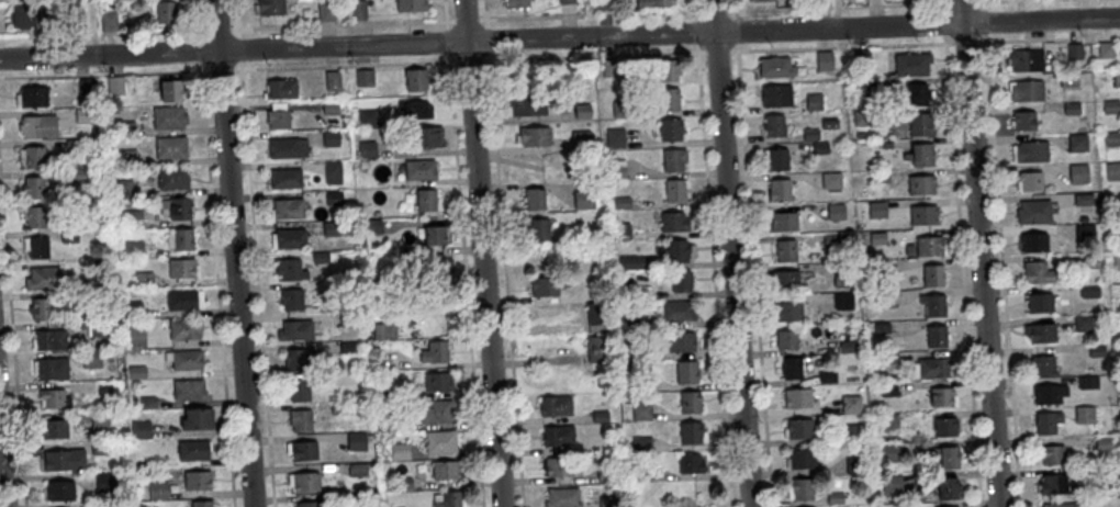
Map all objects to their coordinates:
building: (764, 0)
building: (567, 1)
road: (942, 1)
road: (981, 1)
road: (1005, 1)
building: (517, 2)
road: (962, 2)
building: (412, 3)
building: (604, 3)
building: (653, 3)
road: (733, 4)
road: (693, 5)
building: (269, 7)
road: (839, 7)
building: (358, 8)
building: (326, 9)
road: (445, 10)
road: (485, 10)
road: (714, 10)
building: (29, 11)
building: (166, 11)
road: (194, 14)
road: (236, 14)
road: (590, 15)
road: (466, 20)
road: (983, 21)
building: (110, 22)
building: (77, 23)
road: (943, 23)
road: (341, 24)
road: (216, 29)
road: (736, 30)
road: (98, 33)
road: (486, 38)
road: (560, 38)
road: (1052, 38)
road: (447, 40)
road: (965, 42)
road: (239, 47)
road: (841, 47)
building: (1106, 48)
building: (1075, 49)
road: (718, 52)
road: (593, 56)
building: (861, 57)
building: (1027, 57)
road: (468, 59)
building: (825, 59)
building: (912, 61)
road: (345, 64)
building: (776, 65)
road: (222, 67)
building: (609, 67)
building: (668, 67)
road: (101, 72)
building: (366, 76)
building: (417, 77)
building: (1069, 77)
building: (1117, 77)
building: (334, 79)
building: (116, 83)
building: (83, 84)
building: (282, 86)
building: (861, 87)
building: (171, 88)
building: (1027, 88)
building: (918, 90)
building: (776, 93)
building: (34, 94)
building: (669, 95)
building: (815, 101)
building: (528, 102)
building: (1111, 105)
building: (1072, 106)
building: (332, 108)
building: (418, 108)
building: (621, 108)
building: (582, 110)
building: (83, 114)
building: (169, 115)
building: (278, 116)
building: (368, 116)
building: (861, 116)
building: (1023, 117)
building: (920, 121)
building: (830, 122)
building: (774, 123)
building: (40, 125)
building: (127, 126)
building: (671, 127)
building: (811, 133)
building: (428, 135)
building: (534, 135)
building: (1112, 136)
building: (332, 137)
building: (616, 137)
building: (581, 138)
building: (1078, 140)
building: (887, 143)
building: (74, 144)
building: (288, 145)
building: (171, 146)
building: (820, 146)
building: (367, 148)
building: (1032, 149)
building: (922, 151)
building: (33, 155)
building: (126, 155)
building: (777, 156)
building: (674, 157)
building: (421, 168)
building: (617, 168)
building: (1113, 169)
building: (334, 171)
building: (1078, 172)
building: (77, 173)
building: (881, 174)
building: (173, 176)
building: (287, 176)
building: (831, 178)
building: (1031, 179)
building: (921, 182)
building: (35, 185)
building: (123, 187)
building: (780, 188)
building: (675, 189)
building: (334, 196)
building: (534, 198)
building: (428, 199)
building: (584, 199)
building: (1084, 199)
building: (1119, 201)
building: (621, 202)
building: (180, 206)
building: (289, 206)
building: (878, 207)
building: (836, 210)
building: (1034, 211)
building: (922, 212)
building: (36, 215)
building: (133, 217)
building: (784, 218)
building: (674, 219)
building: (373, 225)
building: (335, 227)
building: (538, 227)
building: (623, 230)
building: (1086, 230)
building: (435, 232)
building: (70, 236)
building: (183, 237)
building: (291, 237)
building: (877, 237)
building: (831, 239)
building: (1035, 240)
building: (930, 244)
building: (36, 245)
building: (134, 248)
building: (786, 248)
building: (680, 249)
road: (232, 253)
road: (481, 253)
road: (730, 253)
road: (979, 253)
building: (321, 257)
building: (1090, 260)
building: (1117, 260)
building: (432, 261)
building: (631, 261)
building: (883, 266)
building: (182, 268)
building: (291, 268)
building: (1038, 271)
building: (842, 273)
building: (933, 273)
road: (962, 274)
road: (1001, 274)
building: (785, 277)
building: (44, 278)
building: (145, 279)
road: (754, 279)
building: (682, 280)
road: (714, 280)
road: (505, 282)
road: (466, 283)
building: (545, 284)
road: (256, 286)
road: (216, 288)
building: (381, 288)
building: (628, 290)
building: (1089, 290)
building: (186, 297)
building: (292, 297)
building: (843, 298)
building: (885, 298)
building: (1040, 300)
building: (933, 302)
building: (42, 306)
building: (133, 308)
building: (788, 308)
building: (679, 309)
building: (597, 316)
building: (348, 319)
building: (635, 322)
building: (1083, 322)
building: (186, 327)
building: (882, 327)
building: (100, 328)
building: (296, 329)
building: (1041, 329)
building: (385, 330)
building: (937, 334)
building: (136, 336)
road: (12, 337)
building: (51, 338)
building: (787, 338)
building: (682, 340)
building: (848, 345)
building: (349, 347)
building: (598, 349)
building: (435, 350)
building: (1097, 350)
building: (632, 351)
building: (887, 357)
building: (92, 358)
building: (187, 358)
building: (300, 358)
building: (1043, 362)
building: (792, 365)
building: (53, 367)
building: (931, 367)
building: (137, 371)
building: (687, 371)
building: (827, 375)
building: (324, 378)
building: (438, 380)
building: (641, 381)
building: (1088, 381)
building: (86, 386)
building: (190, 387)
building: (299, 388)
building: (888, 388)
building: (1050, 391)
building: (797, 395)
building: (942, 395)
building: (56, 396)
building: (148, 401)
building: (690, 401)
building: (851, 403)
building: (556, 404)
building: (339, 407)
building: (437, 409)
building: (641, 409)
building: (1085, 414)
building: (601, 415)
building: (198, 416)
building: (101, 418)
building: (301, 418)
building: (891, 418)
building: (392, 419)
building: (1048, 420)
building: (945, 425)
building: (55, 427)
building: (799, 427)
building: (141, 428)
building: (692, 431)
building: (852, 432)
building: (558, 433)
building: (357, 440)
building: (440, 440)
building: (641, 442)
building: (1104, 442)
building: (101, 447)
building: (193, 448)
building: (304, 449)
building: (401, 450)
building: (892, 452)
building: (1052, 452)
building: (949, 453)
building: (802, 458)
building: (65, 459)
building: (691, 462)
building: (559, 464)
building: (851, 464)
building: (358, 467)
building: (445, 467)
building: (641, 473)
building: (1107, 473)
building: (606, 474)
building: (198, 477)
building: (304, 480)
building: (107, 481)
building: (404, 481)
building: (1057, 481)
building: (892, 482)
road: (1, 484)
building: (949, 485)
building: (802, 487)
building: (60, 488)
building: (159, 489)
building: (562, 496)
building: (835, 497)
building: (359, 498)
building: (447, 498)
building: (608, 500)
building: (202, 503)
building: (314, 503)
building: (111, 504)
building: (1065, 504)
building: (807, 506)
building: (948, 506)

